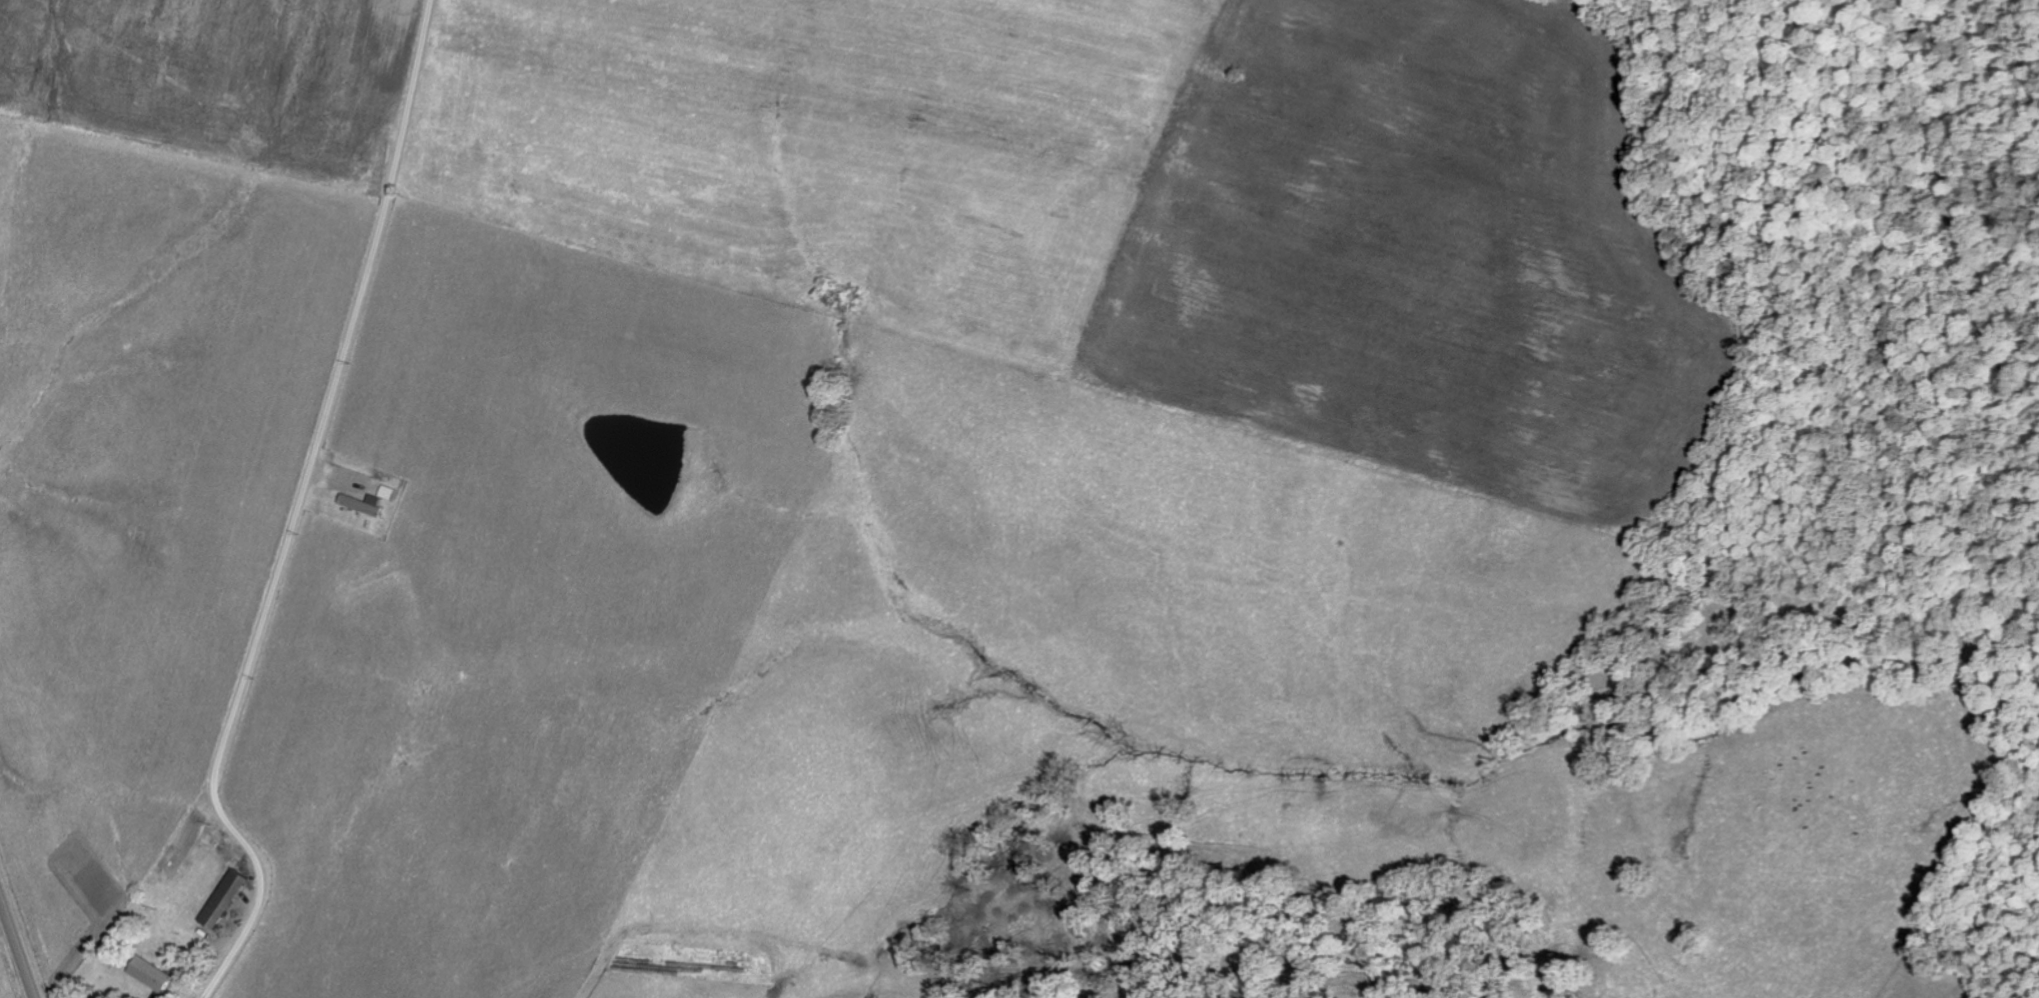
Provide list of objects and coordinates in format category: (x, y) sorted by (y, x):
building: (387, 493)
building: (364, 504)
road: (298, 513)
building: (226, 899)
road: (17, 948)
building: (154, 975)

